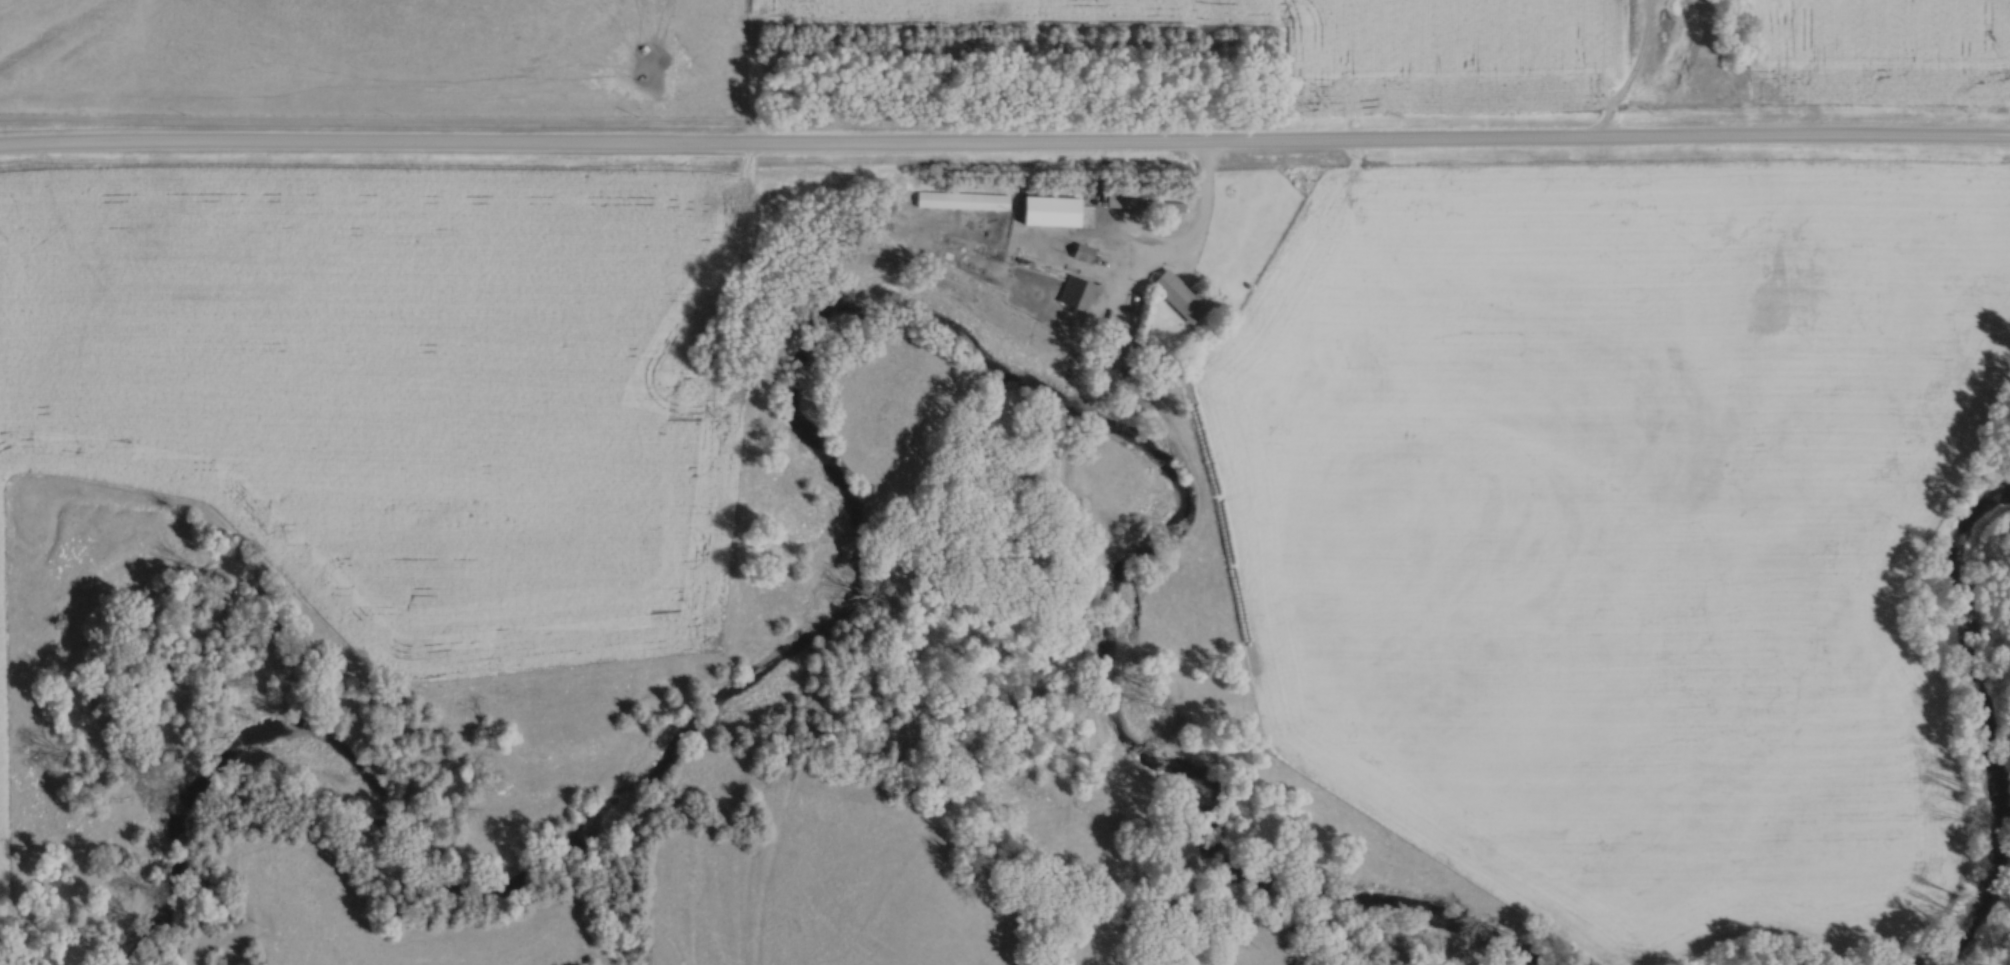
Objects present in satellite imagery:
road: (1005, 147)
building: (1118, 198)
building: (960, 200)
building: (1163, 206)
building: (1039, 210)
road: (1192, 237)
building: (1071, 293)
building: (1176, 297)

